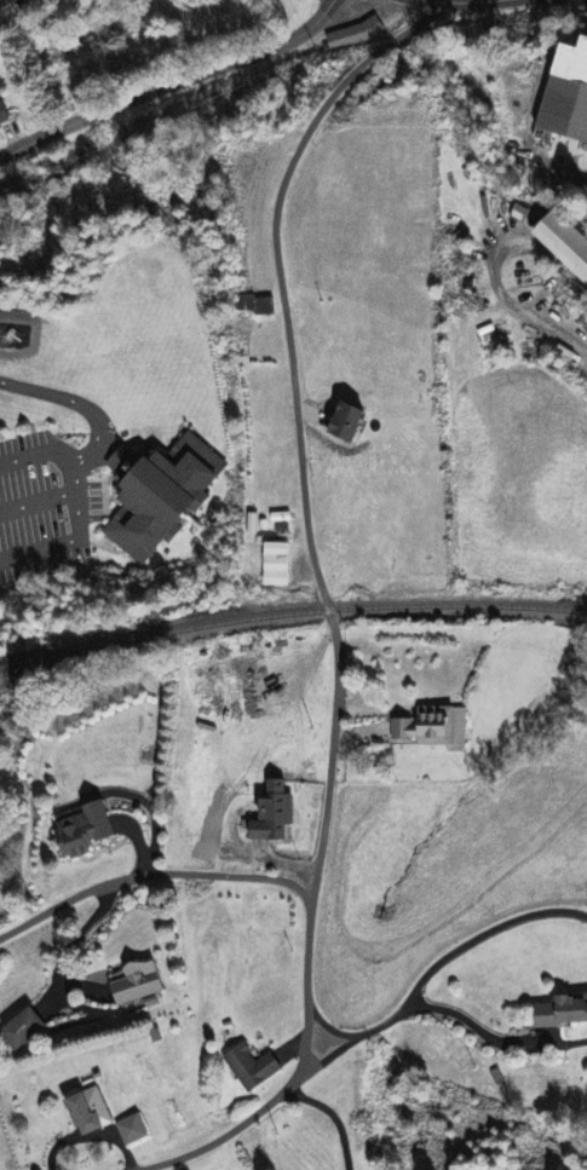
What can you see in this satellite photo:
road: (456, 0)
building: (356, 34)
road: (169, 82)
building: (569, 96)
building: (6, 116)
building: (569, 242)
building: (264, 306)
road: (552, 322)
building: (355, 423)
road: (104, 431)
building: (213, 457)
building: (162, 497)
road: (315, 559)
building: (278, 565)
railway: (289, 611)
building: (436, 728)
building: (278, 813)
building: (88, 830)
road: (151, 882)
road: (482, 933)
building: (143, 982)
building: (564, 1011)
road: (332, 1024)
building: (23, 1031)
road: (493, 1034)
road: (352, 1039)
building: (253, 1068)
building: (94, 1112)
road: (336, 1117)
building: (136, 1130)
road: (186, 1157)

